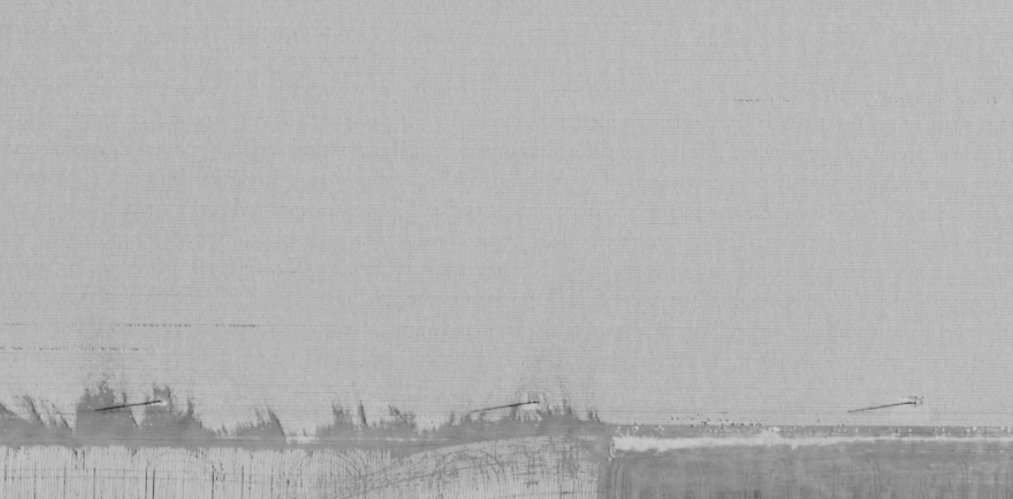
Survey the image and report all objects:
power tower: (178, 399)
power tower: (551, 400)
power tower: (905, 403)

